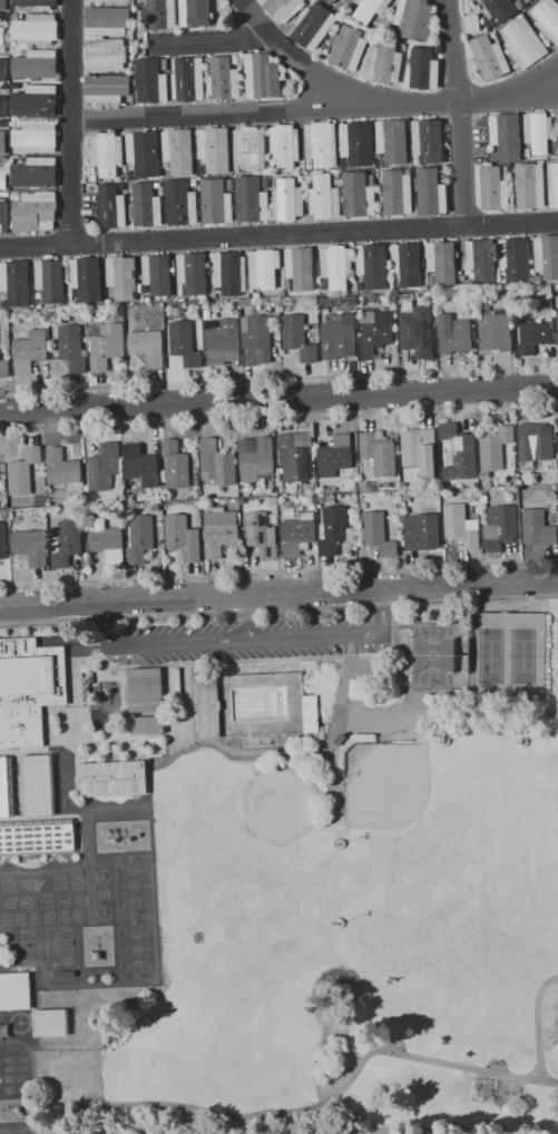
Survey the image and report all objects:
building: (523, 0)
building: (527, 0)
building: (109, 1)
building: (330, 1)
building: (35, 2)
building: (519, 2)
building: (3, 4)
building: (278, 8)
building: (370, 9)
building: (499, 9)
building: (0, 14)
building: (160, 14)
building: (196, 14)
building: (14, 17)
building: (414, 19)
building: (547, 19)
building: (107, 21)
building: (471, 23)
building: (488, 23)
building: (312, 26)
building: (36, 28)
building: (129, 32)
building: (492, 33)
building: (2, 37)
road: (211, 40)
building: (522, 42)
building: (401, 43)
building: (346, 47)
building: (437, 49)
building: (23, 51)
building: (105, 55)
road: (298, 57)
building: (489, 58)
building: (235, 59)
building: (36, 63)
building: (385, 63)
building: (164, 65)
building: (3, 69)
building: (422, 69)
building: (262, 76)
building: (222, 78)
building: (187, 79)
building: (150, 81)
road: (539, 82)
building: (3, 86)
building: (13, 86)
building: (107, 87)
road: (539, 96)
building: (36, 100)
road: (441, 100)
building: (3, 107)
road: (458, 111)
road: (216, 113)
road: (70, 121)
building: (2, 123)
building: (14, 124)
building: (538, 131)
building: (35, 136)
building: (505, 136)
building: (391, 138)
building: (429, 139)
building: (354, 141)
building: (321, 144)
building: (3, 145)
building: (284, 145)
building: (249, 148)
building: (214, 149)
building: (178, 150)
building: (143, 153)
building: (527, 153)
building: (106, 154)
building: (493, 156)
building: (2, 157)
building: (22, 158)
building: (381, 163)
building: (166, 165)
building: (272, 165)
building: (309, 166)
building: (92, 169)
building: (202, 169)
building: (408, 170)
building: (505, 170)
building: (36, 172)
building: (335, 174)
building: (131, 176)
building: (3, 177)
building: (92, 177)
building: (442, 177)
building: (126, 179)
building: (372, 179)
building: (193, 182)
building: (265, 182)
building: (336, 182)
building: (229, 184)
building: (301, 184)
building: (552, 184)
building: (156, 185)
building: (529, 186)
building: (120, 187)
building: (491, 189)
building: (398, 192)
building: (431, 193)
building: (4, 194)
building: (358, 195)
building: (14, 196)
building: (324, 197)
building: (252, 199)
building: (287, 201)
building: (215, 202)
building: (180, 204)
building: (145, 205)
building: (110, 207)
building: (35, 213)
building: (2, 215)
road: (278, 234)
building: (547, 256)
building: (513, 258)
building: (481, 261)
building: (442, 262)
building: (407, 264)
building: (373, 265)
building: (336, 266)
building: (263, 267)
building: (300, 267)
building: (193, 272)
building: (229, 273)
building: (156, 274)
building: (86, 277)
building: (121, 277)
building: (50, 281)
building: (431, 281)
building: (503, 281)
building: (16, 282)
building: (539, 282)
building: (287, 284)
building: (325, 284)
building: (359, 286)
building: (217, 290)
building: (251, 291)
building: (75, 292)
building: (256, 295)
building: (37, 296)
building: (374, 297)
building: (342, 300)
building: (324, 301)
building: (108, 302)
building: (246, 303)
building: (3, 304)
building: (38, 306)
building: (212, 306)
building: (443, 306)
building: (486, 307)
building: (206, 314)
building: (168, 316)
building: (531, 316)
building: (423, 319)
building: (409, 322)
building: (376, 332)
building: (495, 332)
building: (557, 333)
building: (453, 334)
building: (4, 336)
building: (337, 336)
building: (297, 338)
building: (532, 338)
building: (256, 341)
building: (224, 342)
building: (184, 343)
building: (415, 344)
building: (72, 346)
building: (106, 346)
building: (146, 346)
building: (30, 351)
building: (3, 368)
building: (154, 374)
road: (278, 379)
road: (278, 400)
building: (557, 441)
building: (535, 444)
building: (418, 449)
building: (496, 449)
building: (378, 452)
building: (456, 452)
building: (335, 453)
building: (295, 454)
building: (256, 459)
building: (216, 462)
building: (139, 465)
building: (175, 465)
building: (61, 467)
building: (102, 467)
building: (22, 470)
building: (368, 470)
building: (326, 475)
building: (483, 476)
building: (319, 482)
building: (353, 482)
building: (473, 483)
building: (268, 485)
building: (301, 485)
building: (384, 485)
building: (281, 489)
building: (355, 490)
building: (407, 496)
building: (131, 497)
building: (141, 497)
building: (517, 497)
building: (321, 498)
building: (482, 499)
building: (40, 500)
building: (236, 501)
building: (242, 501)
building: (0, 502)
building: (155, 506)
building: (364, 506)
building: (218, 508)
building: (461, 525)
building: (500, 527)
building: (537, 528)
building: (334, 530)
building: (421, 531)
building: (218, 532)
building: (261, 534)
building: (297, 534)
building: (378, 534)
building: (182, 537)
building: (140, 539)
building: (106, 540)
building: (3, 541)
building: (66, 542)
building: (31, 547)
road: (278, 593)
road: (247, 617)
road: (242, 639)
park: (432, 655)
park: (506, 655)
road: (402, 668)
building: (177, 682)
building: (86, 684)
building: (29, 688)
building: (145, 690)
building: (207, 706)
building: (311, 714)
road: (376, 718)
building: (148, 724)
road: (333, 727)
building: (341, 739)
building: (111, 778)
building: (36, 785)
park: (306, 785)
building: (6, 786)
building: (36, 835)
park: (101, 877)
park: (133, 884)
park: (361, 892)
park: (79, 899)
park: (61, 900)
park: (25, 901)
park: (7, 902)
track: (87, 907)
park: (102, 912)
park: (45, 944)
park: (136, 948)
building: (14, 990)
building: (48, 1021)
road: (536, 1021)
park: (217, 1045)
track: (14, 1084)
road: (290, 1109)

